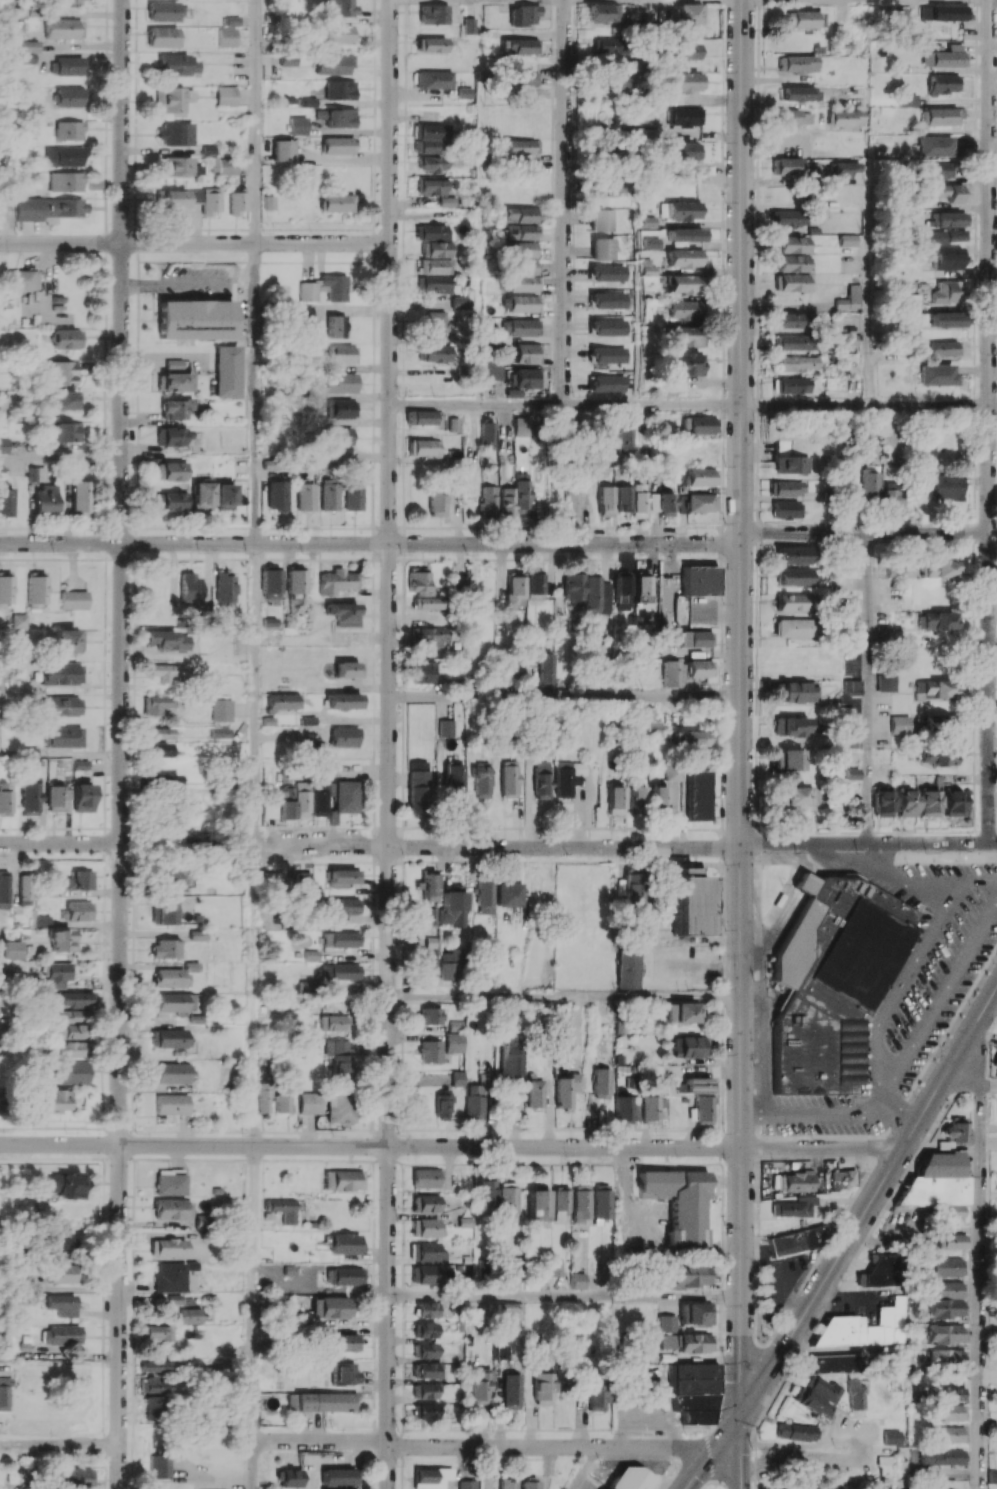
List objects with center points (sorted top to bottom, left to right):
road: (949, 0)
road: (994, 1)
building: (72, 2)
building: (341, 7)
building: (944, 12)
building: (602, 13)
building: (434, 14)
building: (523, 15)
building: (685, 18)
building: (802, 19)
building: (231, 20)
building: (470, 25)
building: (64, 28)
building: (341, 33)
building: (162, 36)
building: (227, 37)
building: (432, 44)
building: (31, 46)
building: (520, 46)
building: (605, 47)
building: (682, 51)
building: (796, 63)
building: (176, 64)
building: (67, 65)
building: (526, 78)
building: (434, 79)
building: (683, 81)
building: (944, 84)
building: (339, 90)
building: (800, 93)
building: (225, 95)
building: (68, 96)
building: (172, 100)
building: (682, 116)
building: (941, 116)
building: (793, 117)
building: (340, 118)
building: (844, 118)
road: (256, 121)
building: (298, 125)
building: (69, 130)
building: (175, 133)
building: (430, 137)
building: (337, 145)
building: (522, 146)
building: (936, 146)
building: (282, 150)
building: (681, 151)
building: (608, 154)
building: (64, 156)
building: (433, 163)
building: (225, 165)
building: (176, 166)
building: (790, 166)
building: (939, 169)
building: (66, 181)
building: (607, 187)
building: (436, 191)
building: (946, 191)
building: (189, 198)
building: (237, 201)
building: (269, 202)
building: (337, 202)
road: (565, 202)
road: (804, 206)
building: (48, 207)
building: (683, 209)
building: (520, 214)
building: (796, 217)
building: (947, 219)
building: (602, 220)
building: (647, 221)
building: (519, 231)
building: (432, 232)
building: (684, 234)
building: (946, 236)
building: (847, 240)
road: (195, 243)
building: (649, 243)
building: (792, 244)
building: (602, 248)
building: (437, 249)
building: (524, 249)
building: (948, 258)
building: (794, 263)
building: (435, 266)
building: (682, 270)
building: (606, 272)
building: (23, 280)
building: (794, 282)
building: (435, 283)
building: (523, 283)
building: (325, 288)
building: (947, 292)
building: (849, 298)
building: (606, 300)
building: (912, 301)
building: (460, 303)
building: (521, 303)
road: (867, 306)
building: (681, 309)
building: (303, 313)
building: (195, 319)
building: (947, 319)
building: (791, 320)
building: (436, 324)
building: (336, 326)
building: (520, 327)
building: (606, 327)
building: (683, 335)
building: (66, 338)
building: (843, 339)
building: (796, 342)
building: (943, 348)
building: (342, 353)
building: (435, 353)
building: (527, 353)
building: (606, 354)
building: (683, 363)
building: (796, 363)
building: (173, 365)
building: (493, 370)
building: (226, 371)
building: (60, 373)
building: (937, 374)
building: (522, 381)
building: (174, 382)
building: (338, 382)
building: (606, 383)
building: (792, 384)
road: (257, 394)
building: (64, 399)
road: (693, 404)
building: (176, 408)
building: (342, 408)
building: (423, 417)
road: (990, 421)
building: (698, 424)
building: (522, 426)
building: (66, 433)
building: (488, 435)
building: (171, 436)
building: (342, 437)
building: (626, 437)
building: (604, 438)
building: (4, 445)
building: (425, 447)
building: (922, 452)
road: (61, 459)
building: (790, 464)
building: (170, 471)
building: (37, 473)
building: (701, 476)
building: (864, 483)
building: (945, 486)
building: (786, 488)
building: (522, 494)
building: (277, 495)
building: (330, 495)
building: (201, 496)
building: (223, 496)
building: (306, 496)
building: (353, 497)
building: (45, 498)
building: (624, 498)
building: (889, 498)
building: (81, 499)
building: (488, 500)
building: (506, 500)
building: (639, 500)
building: (6, 501)
building: (171, 501)
building: (437, 501)
building: (606, 501)
building: (698, 502)
building: (663, 503)
building: (572, 504)
building: (787, 509)
road: (869, 532)
road: (371, 543)
building: (796, 555)
building: (939, 569)
building: (794, 577)
building: (419, 580)
building: (700, 580)
building: (296, 581)
building: (336, 581)
building: (271, 583)
building: (189, 586)
building: (534, 586)
building: (573, 586)
building: (642, 587)
building: (5, 588)
building: (225, 589)
building: (36, 590)
building: (622, 590)
building: (516, 591)
building: (592, 595)
building: (73, 599)
building: (428, 602)
building: (792, 602)
building: (344, 613)
building: (19, 620)
building: (935, 620)
building: (795, 628)
building: (435, 637)
building: (696, 638)
building: (66, 640)
building: (166, 640)
building: (517, 666)
building: (700, 668)
building: (347, 669)
building: (548, 669)
building: (167, 672)
building: (425, 672)
building: (62, 673)
building: (674, 673)
building: (885, 682)
road: (867, 688)
building: (931, 688)
building: (793, 692)
road: (257, 694)
road: (565, 696)
building: (283, 701)
building: (344, 701)
building: (156, 704)
building: (63, 705)
road: (741, 707)
building: (222, 710)
building: (923, 724)
building: (656, 726)
building: (791, 726)
building: (447, 727)
building: (160, 732)
building: (221, 732)
building: (64, 736)
building: (344, 737)
building: (695, 738)
road: (121, 744)
road: (389, 744)
building: (158, 749)
building: (940, 755)
building: (789, 760)
building: (81, 764)
building: (672, 772)
building: (851, 773)
building: (542, 777)
building: (567, 777)
building: (510, 778)
building: (164, 779)
building: (454, 779)
building: (483, 781)
building: (418, 785)
building: (696, 794)
building: (346, 796)
building: (801, 796)
building: (83, 797)
building: (636, 797)
building: (5, 798)
building: (29, 798)
building: (56, 798)
building: (318, 798)
building: (659, 798)
building: (301, 799)
building: (615, 799)
building: (285, 801)
building: (882, 803)
building: (905, 803)
building: (928, 803)
building: (953, 803)
road: (60, 843)
road: (868, 843)
road: (498, 846)
building: (343, 877)
building: (173, 878)
building: (273, 879)
building: (81, 880)
road: (972, 882)
building: (303, 886)
building: (430, 886)
building: (4, 888)
building: (631, 888)
building: (25, 889)
building: (510, 894)
building: (486, 897)
building: (689, 902)
building: (345, 908)
building: (453, 908)
building: (80, 910)
building: (164, 913)
building: (424, 916)
building: (341, 939)
building: (62, 940)
road: (920, 947)
building: (165, 948)
building: (13, 949)
building: (429, 962)
building: (450, 964)
building: (628, 968)
building: (341, 972)
building: (58, 974)
building: (173, 975)
building: (831, 980)
road: (256, 994)
road: (565, 996)
building: (76, 999)
road: (938, 1000)
building: (172, 1001)
building: (684, 1012)
building: (430, 1015)
building: (70, 1016)
building: (335, 1022)
building: (69, 1031)
building: (169, 1038)
building: (455, 1042)
building: (689, 1046)
building: (69, 1049)
building: (431, 1051)
building: (340, 1057)
building: (512, 1057)
road: (979, 1060)
building: (68, 1072)
building: (168, 1072)
building: (459, 1078)
building: (601, 1083)
building: (698, 1085)
road: (989, 1085)
building: (567, 1090)
building: (535, 1093)
building: (265, 1097)
building: (54, 1100)
building: (283, 1100)
building: (311, 1103)
building: (171, 1104)
building: (443, 1104)
road: (831, 1106)
building: (341, 1107)
building: (651, 1108)
building: (627, 1109)
building: (701, 1110)
building: (956, 1130)
road: (370, 1145)
road: (822, 1148)
building: (426, 1178)
building: (842, 1178)
building: (344, 1179)
building: (794, 1181)
building: (65, 1184)
building: (939, 1185)
building: (486, 1193)
building: (507, 1199)
building: (581, 1202)
building: (679, 1202)
building: (425, 1203)
building: (601, 1203)
building: (560, 1204)
building: (538, 1205)
building: (794, 1207)
building: (172, 1209)
building: (282, 1209)
building: (427, 1227)
building: (794, 1241)
building: (951, 1241)
building: (61, 1242)
building: (346, 1243)
road: (847, 1243)
building: (168, 1247)
road: (636, 1248)
building: (426, 1251)
building: (552, 1267)
building: (946, 1267)
building: (878, 1270)
building: (63, 1273)
building: (428, 1274)
building: (345, 1275)
building: (691, 1275)
building: (169, 1277)
building: (578, 1280)
road: (980, 1287)
building: (944, 1289)
road: (255, 1293)
road: (564, 1296)
building: (62, 1304)
building: (333, 1307)
building: (510, 1307)
building: (945, 1308)
building: (426, 1309)
building: (698, 1314)
building: (190, 1315)
building: (867, 1327)
building: (424, 1330)
building: (667, 1331)
building: (157, 1333)
building: (946, 1333)
building: (62, 1334)
building: (346, 1342)
building: (695, 1342)
building: (426, 1350)
building: (501, 1351)
building: (946, 1357)
building: (833, 1363)
building: (156, 1366)
building: (427, 1370)
building: (345, 1374)
building: (692, 1377)
building: (155, 1384)
building: (542, 1388)
building: (482, 1389)
building: (426, 1391)
building: (511, 1391)
building: (948, 1393)
building: (4, 1394)
building: (596, 1395)
building: (855, 1395)
building: (818, 1397)
building: (321, 1401)
building: (694, 1406)
building: (154, 1407)
road: (754, 1407)
building: (425, 1411)
building: (951, 1412)
traffic signals: (740, 1415)
building: (796, 1432)
building: (951, 1434)
building: (891, 1437)
road: (59, 1443)
road: (483, 1446)
road: (741, 1451)
building: (942, 1456)
road: (805, 1462)
road: (255, 1465)
building: (885, 1465)
building: (161, 1466)
road: (491, 1467)
road: (582, 1468)
building: (992, 1476)
building: (78, 1477)
building: (339, 1477)
building: (289, 1478)
building: (630, 1478)
building: (530, 1483)
building: (468, 1484)
building: (508, 1484)
building: (812, 1488)

